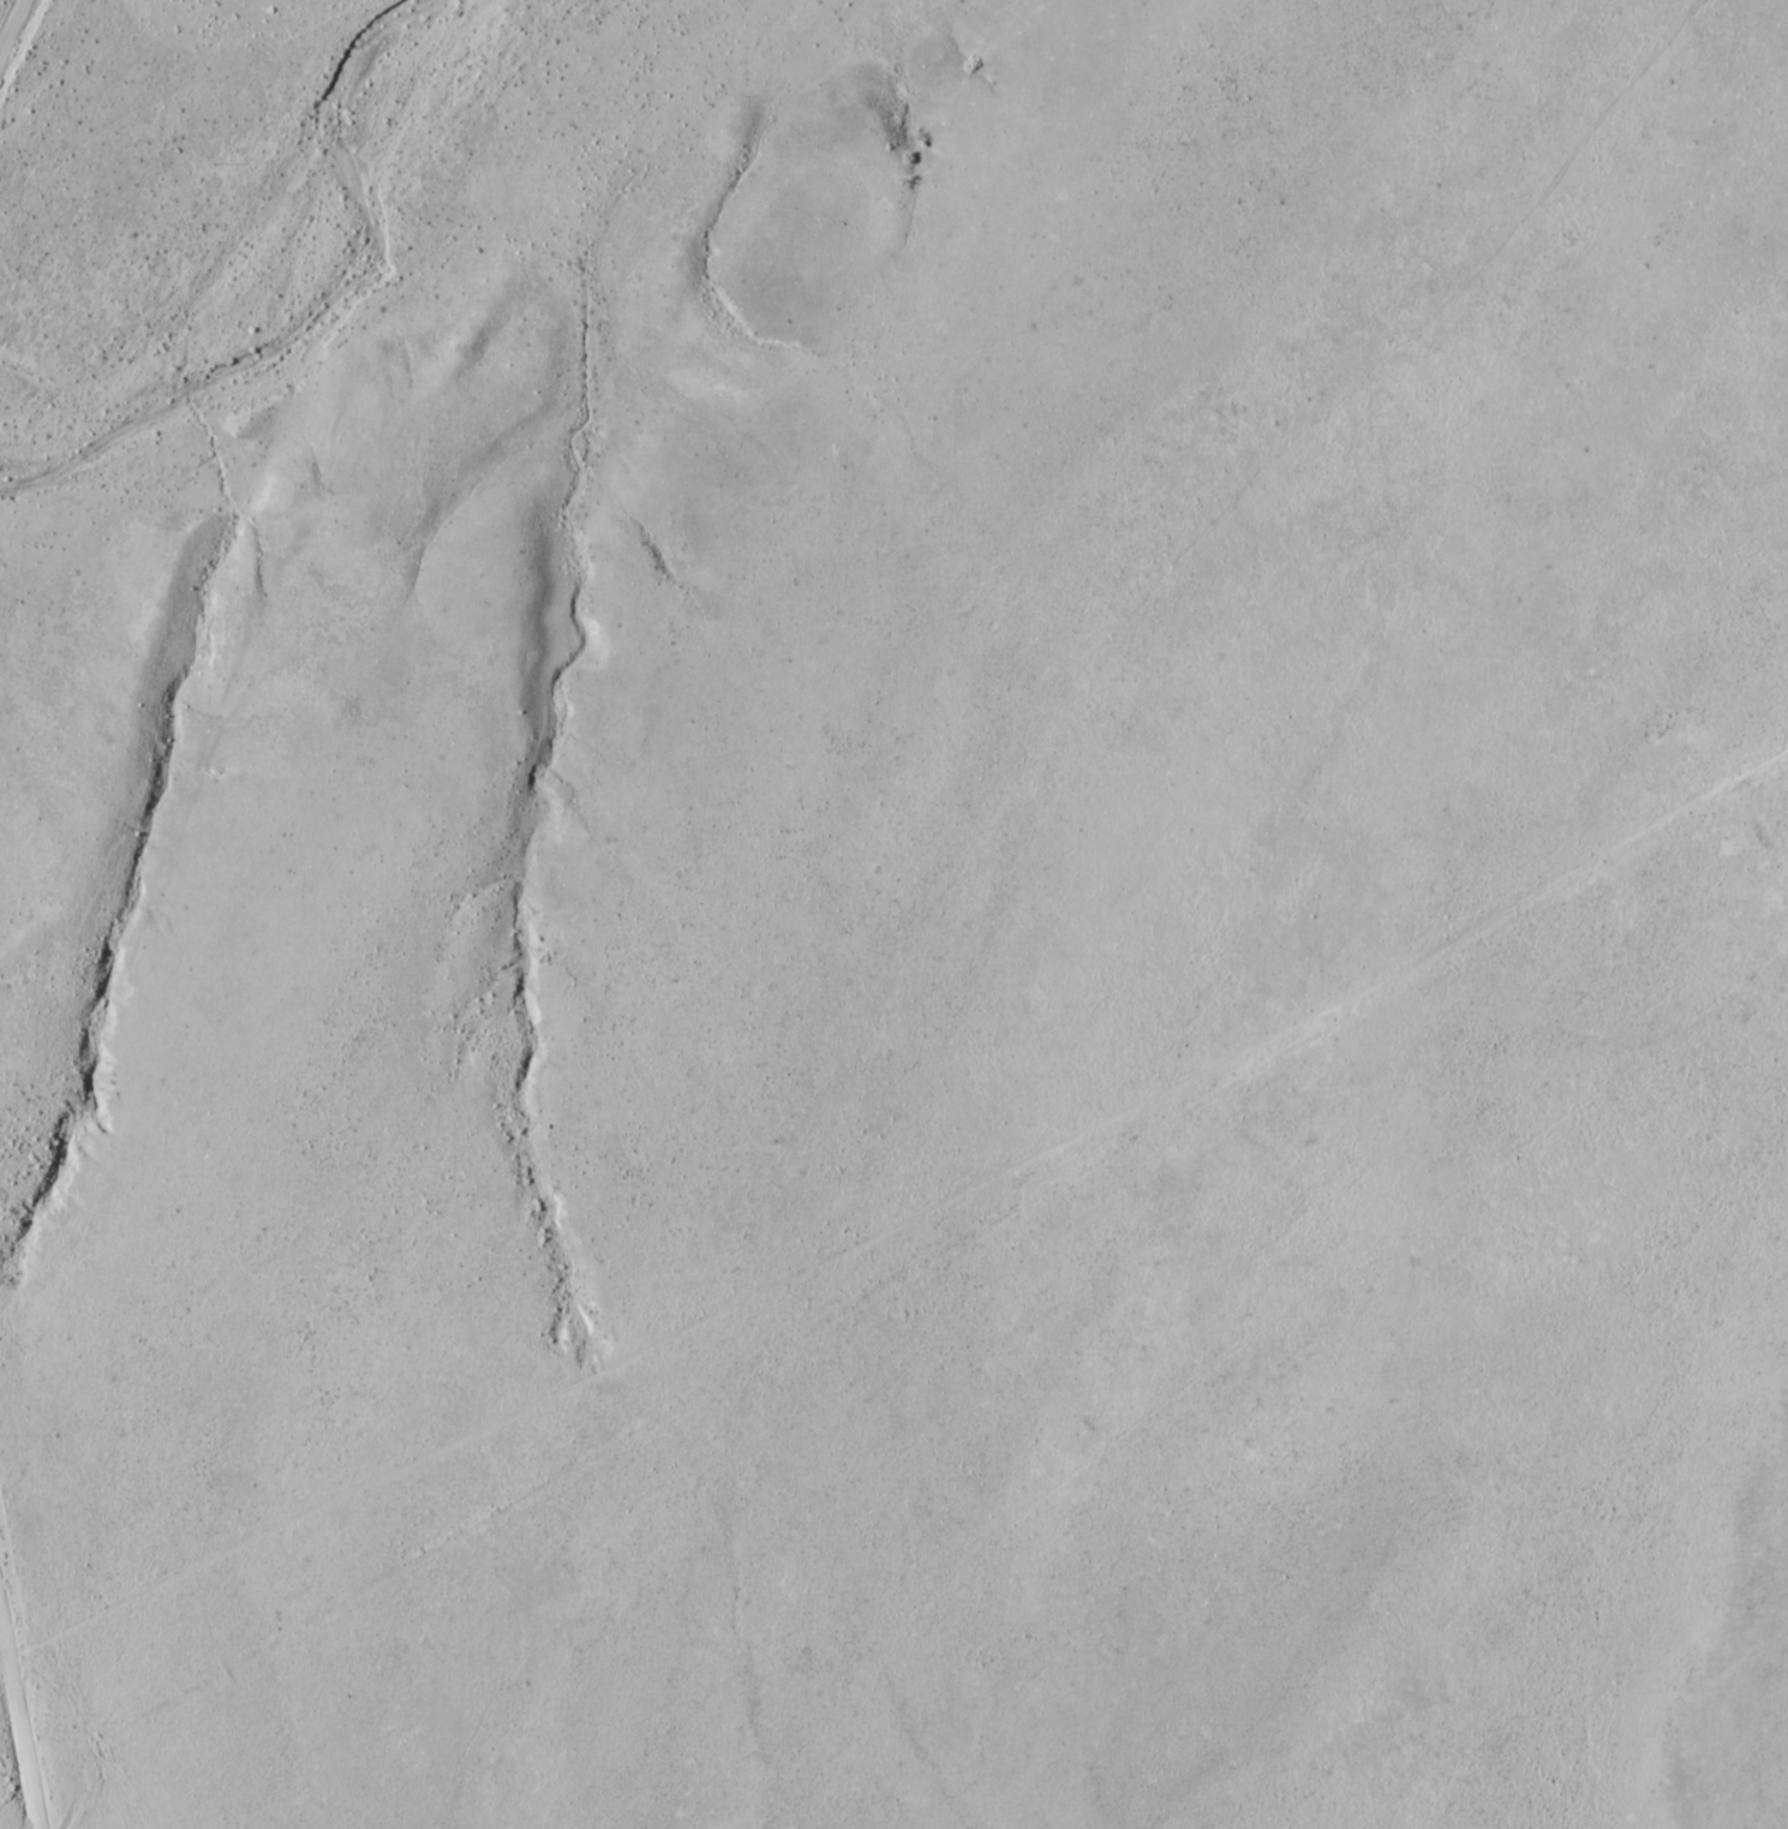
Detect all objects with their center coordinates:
road: (11, 24)
river: (303, 311)
road: (4, 1654)
road: (20, 1717)

